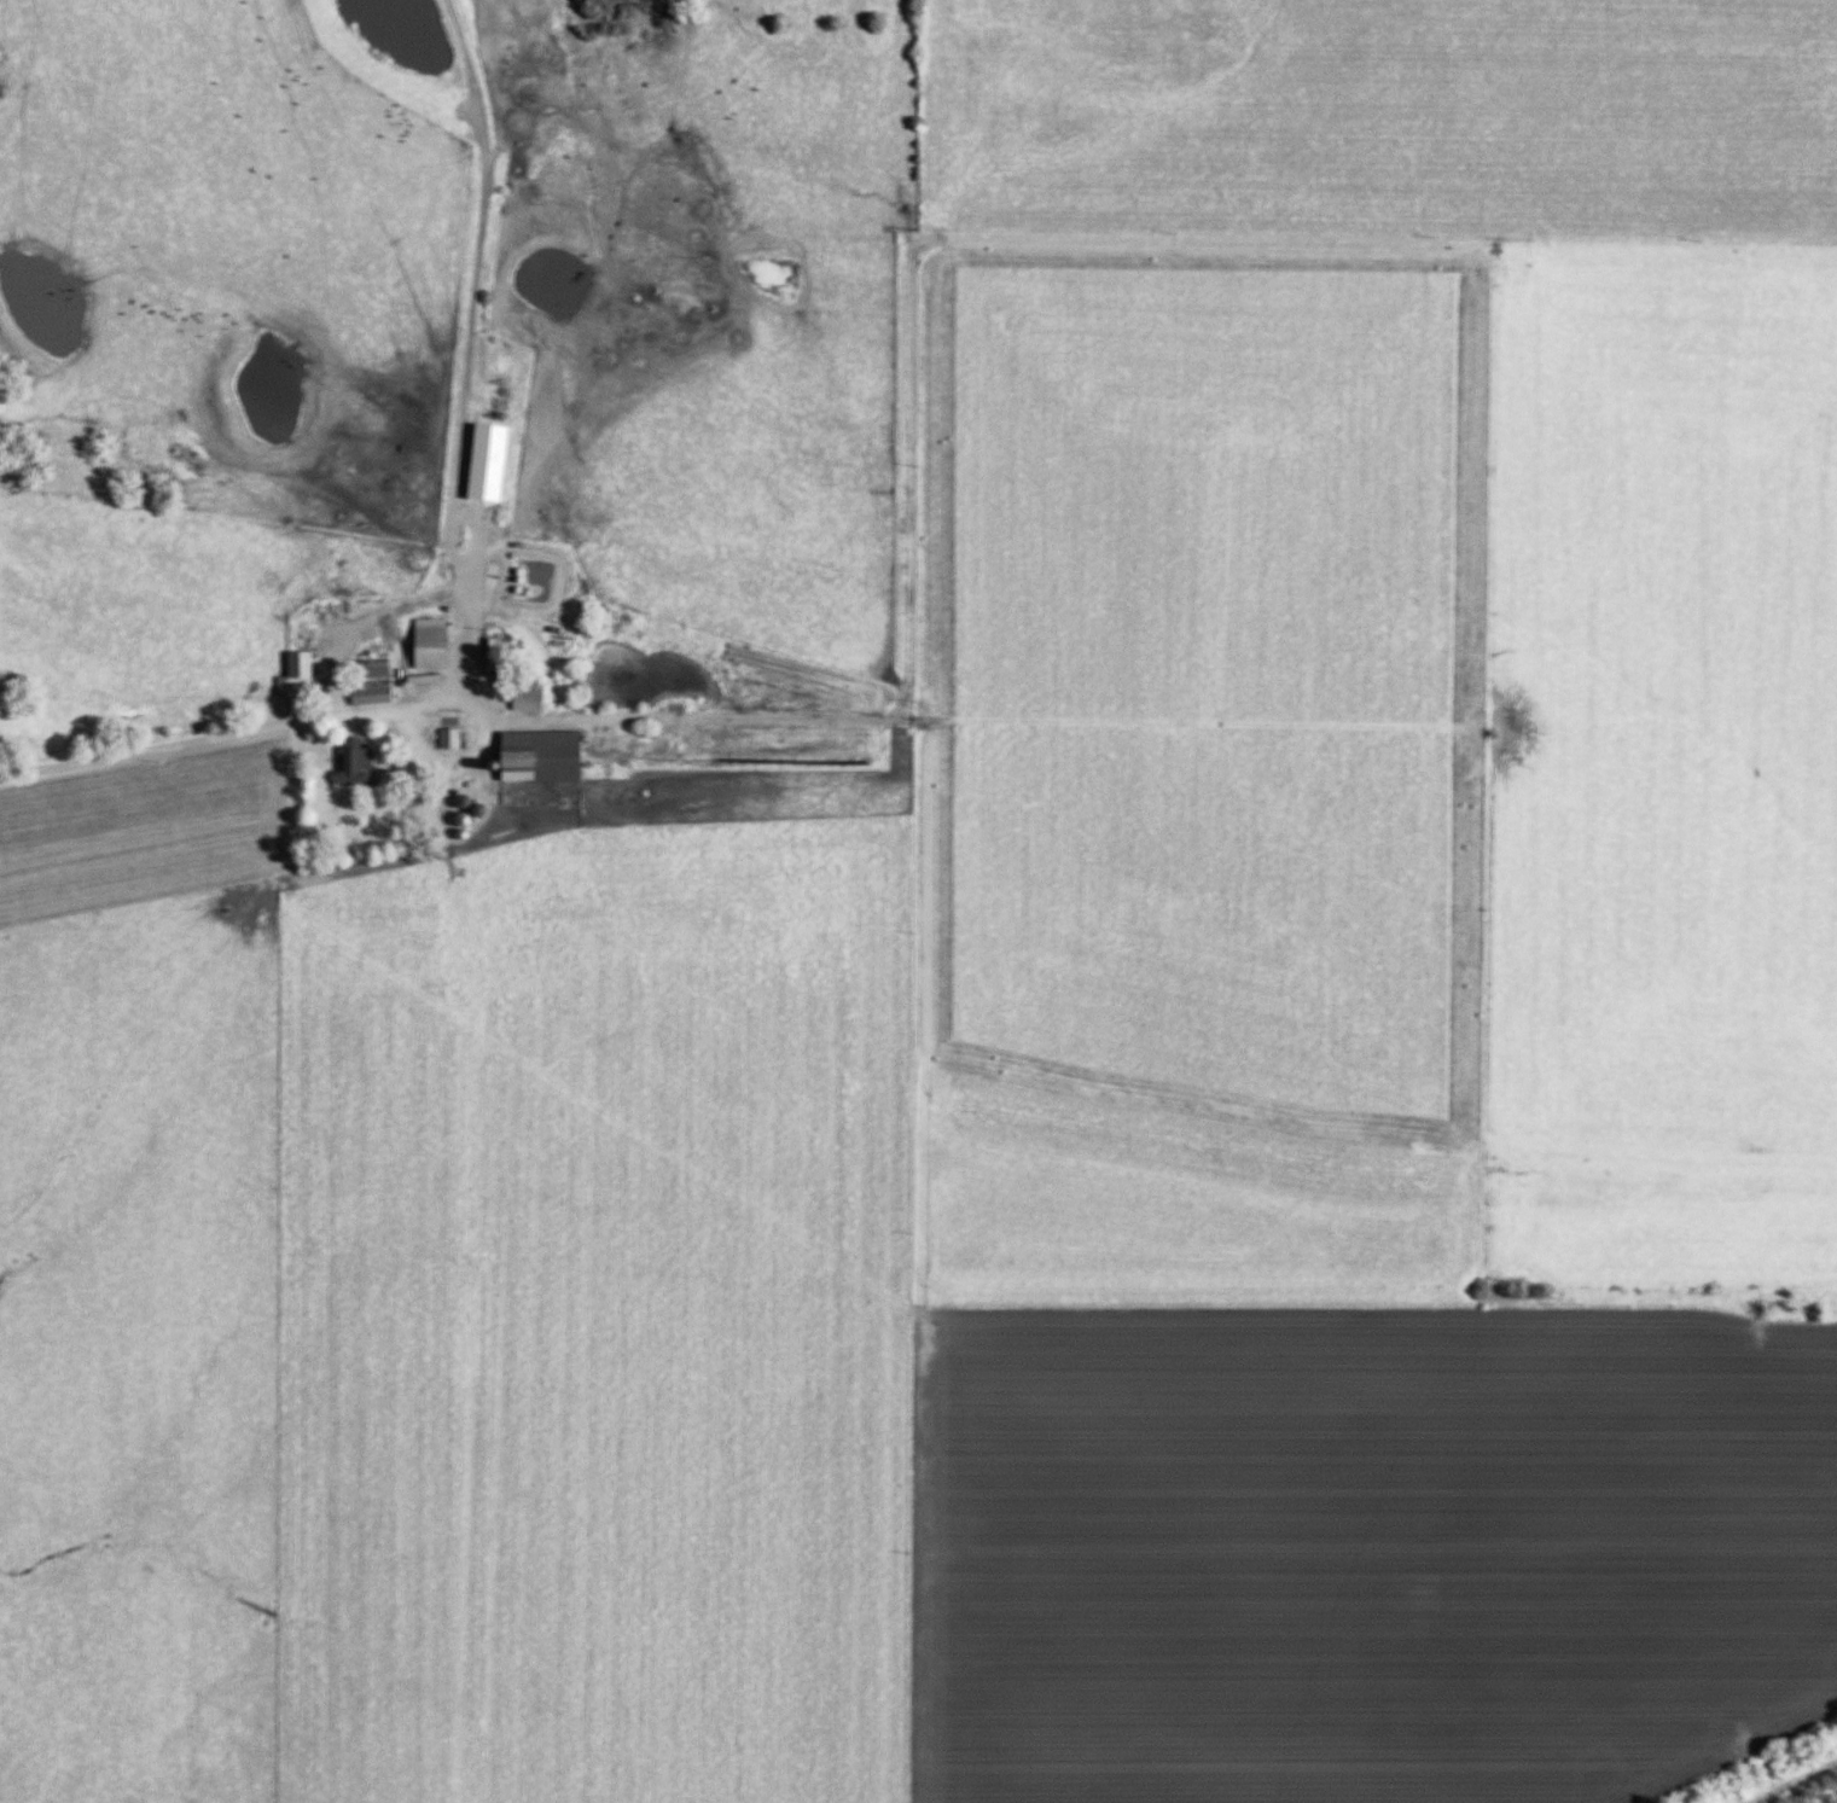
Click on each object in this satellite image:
building: (424, 645)
building: (367, 669)
building: (291, 675)
building: (365, 697)
building: (522, 697)
road: (263, 726)
building: (443, 740)
building: (534, 758)
building: (351, 767)
railway: (1761, 1768)

